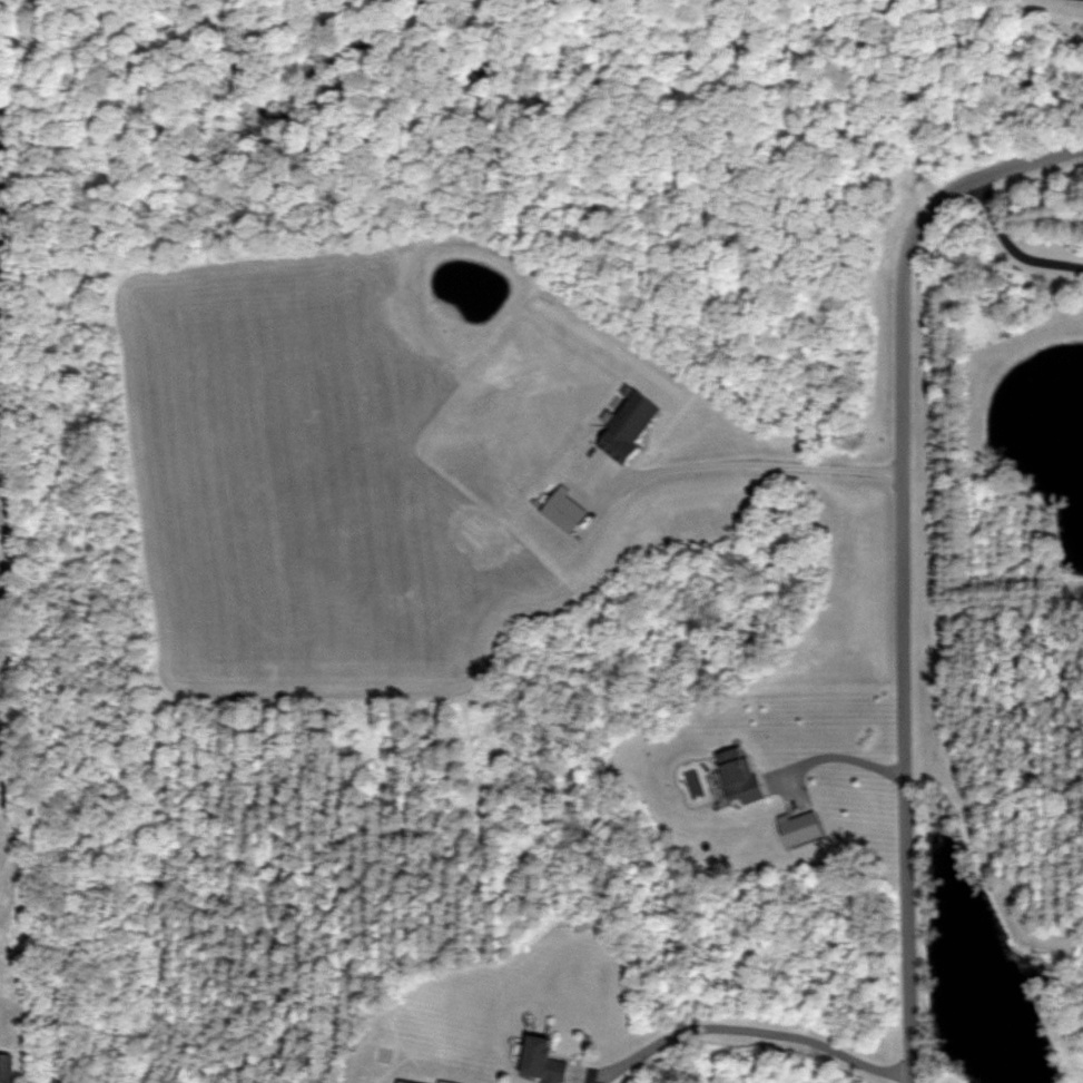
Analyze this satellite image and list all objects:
road: (1006, 239)
building: (630, 425)
road: (746, 463)
road: (902, 553)
road: (838, 739)
building: (738, 777)
road: (751, 1033)
building: (542, 1062)

